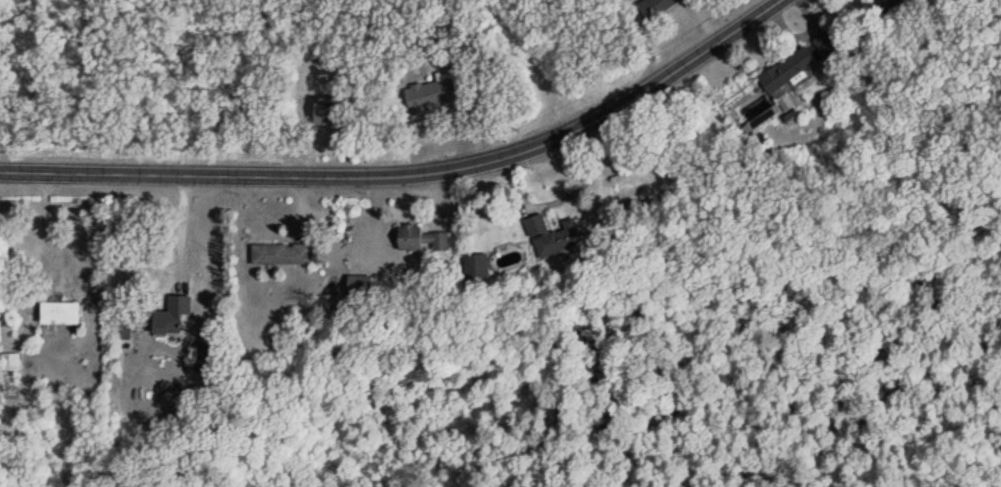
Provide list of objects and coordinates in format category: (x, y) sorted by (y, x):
building: (888, 5)
building: (656, 8)
building: (827, 45)
building: (788, 70)
building: (432, 96)
building: (328, 112)
road: (413, 177)
road: (44, 229)
building: (552, 236)
building: (421, 239)
road: (151, 242)
building: (281, 254)
building: (359, 286)
building: (61, 312)
building: (172, 314)
building: (9, 362)

